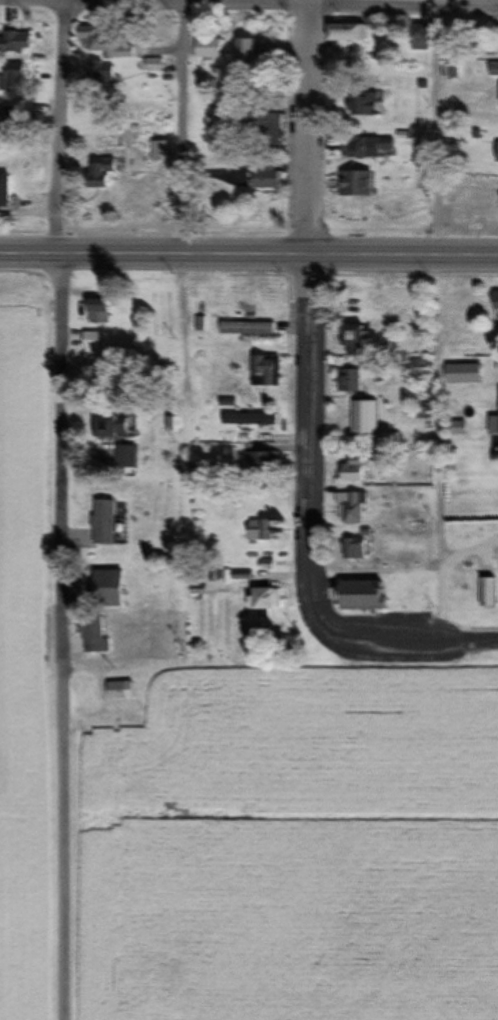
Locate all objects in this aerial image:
road: (300, 3)
road: (248, 6)
building: (346, 37)
building: (14, 43)
building: (418, 43)
building: (100, 44)
building: (206, 48)
building: (245, 52)
building: (151, 65)
building: (99, 74)
building: (10, 77)
building: (366, 104)
building: (10, 115)
road: (58, 129)
building: (267, 129)
road: (180, 132)
road: (305, 133)
building: (366, 147)
building: (496, 152)
building: (99, 174)
building: (265, 177)
building: (353, 183)
building: (4, 191)
road: (248, 259)
building: (495, 301)
building: (98, 311)
building: (245, 329)
building: (353, 340)
building: (93, 341)
building: (418, 369)
building: (265, 372)
building: (454, 373)
building: (351, 381)
building: (248, 420)
building: (492, 426)
building: (111, 427)
road: (438, 453)
building: (126, 457)
building: (264, 464)
building: (354, 471)
road: (305, 506)
building: (350, 509)
building: (103, 523)
building: (261, 531)
building: (352, 550)
building: (109, 584)
building: (489, 593)
building: (361, 596)
building: (263, 599)
building: (93, 636)
road: (57, 637)
road: (470, 645)
building: (115, 691)

